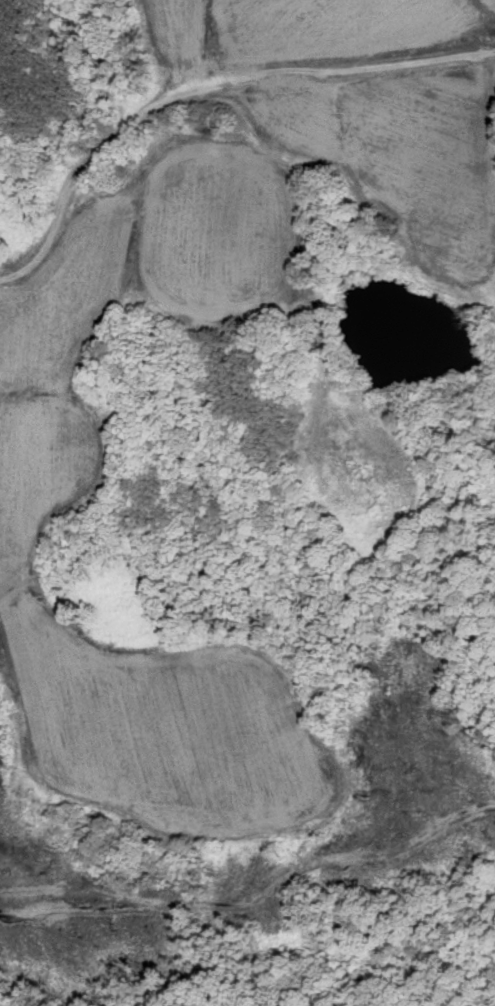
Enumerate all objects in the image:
road: (222, 85)

